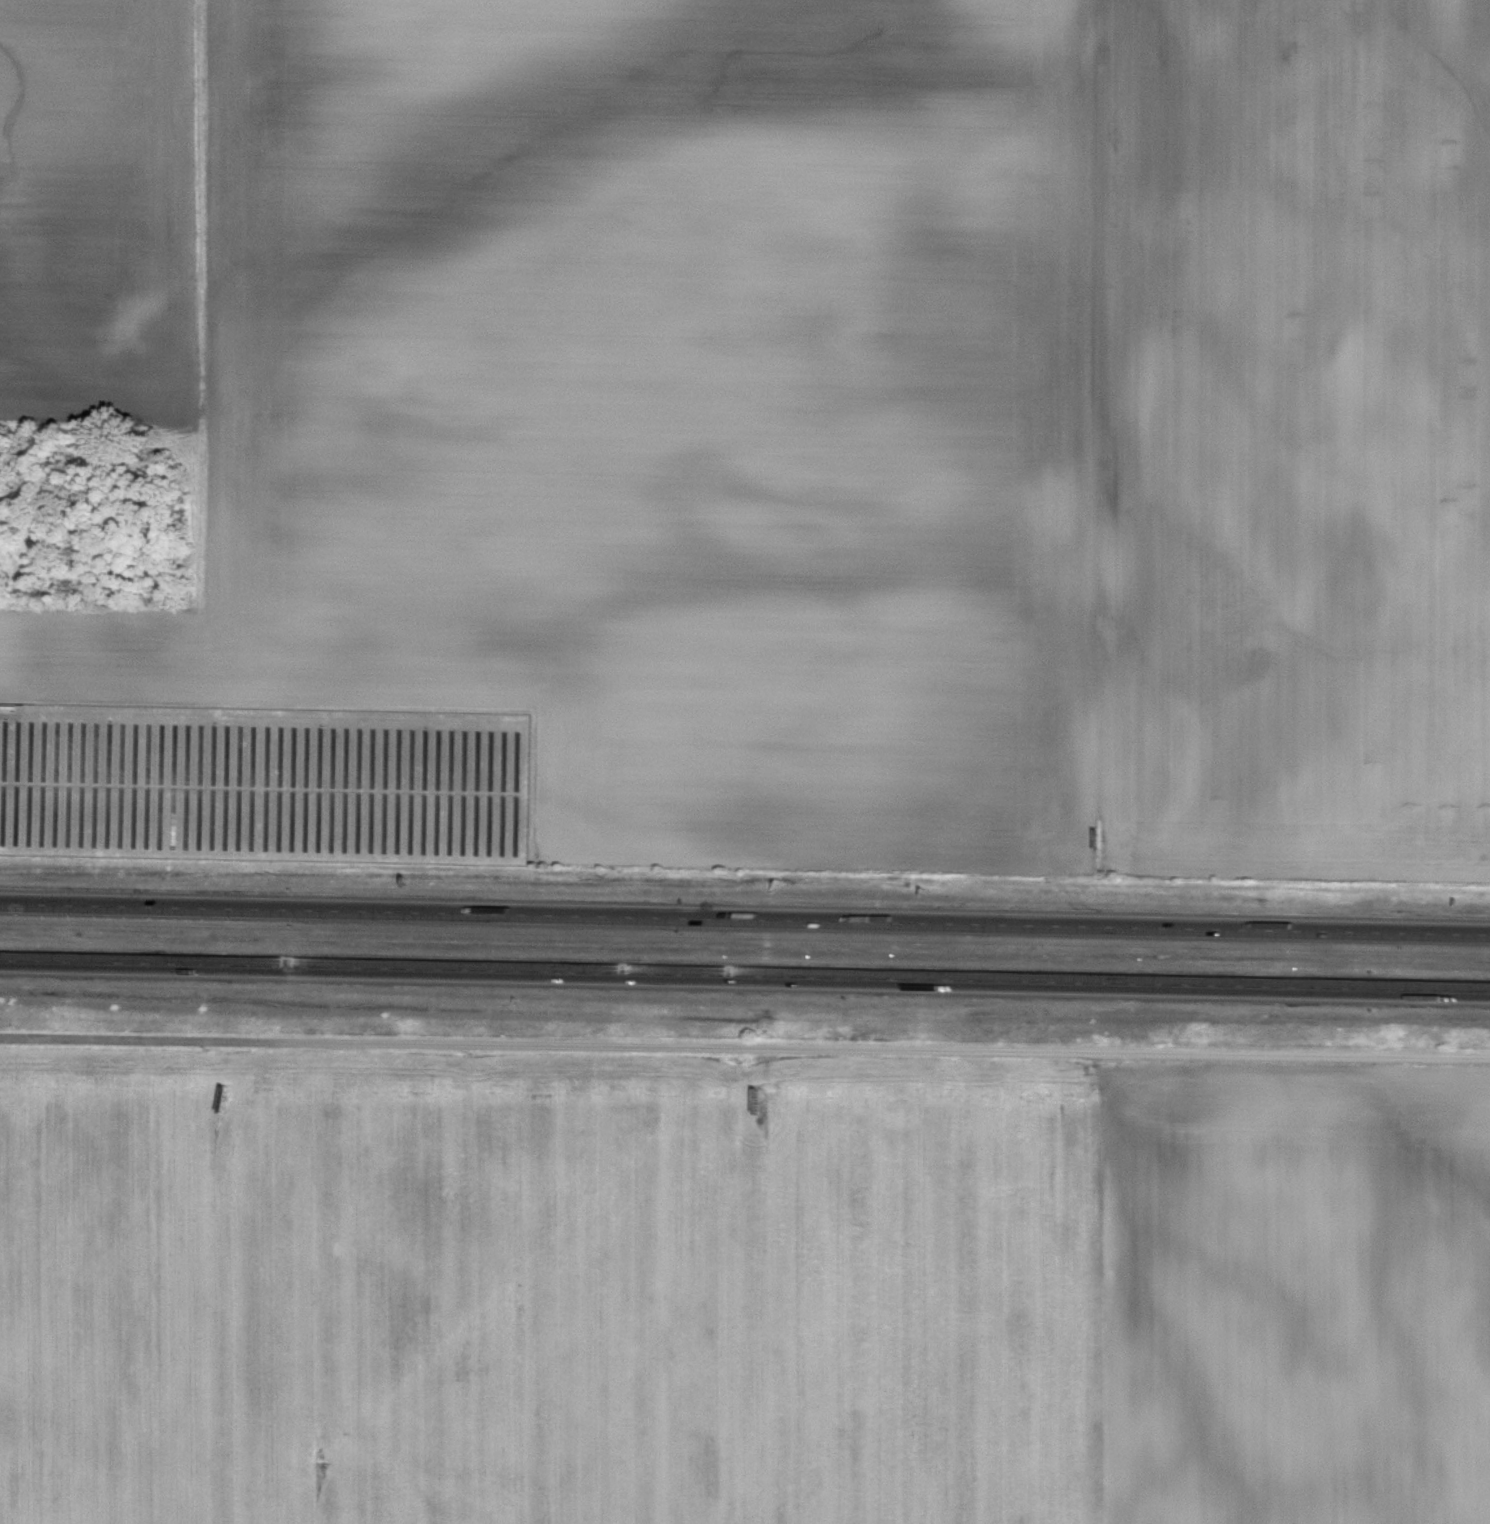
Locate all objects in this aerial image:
solar farm: (259, 784)
road: (744, 919)
road: (745, 975)
road: (744, 1047)

